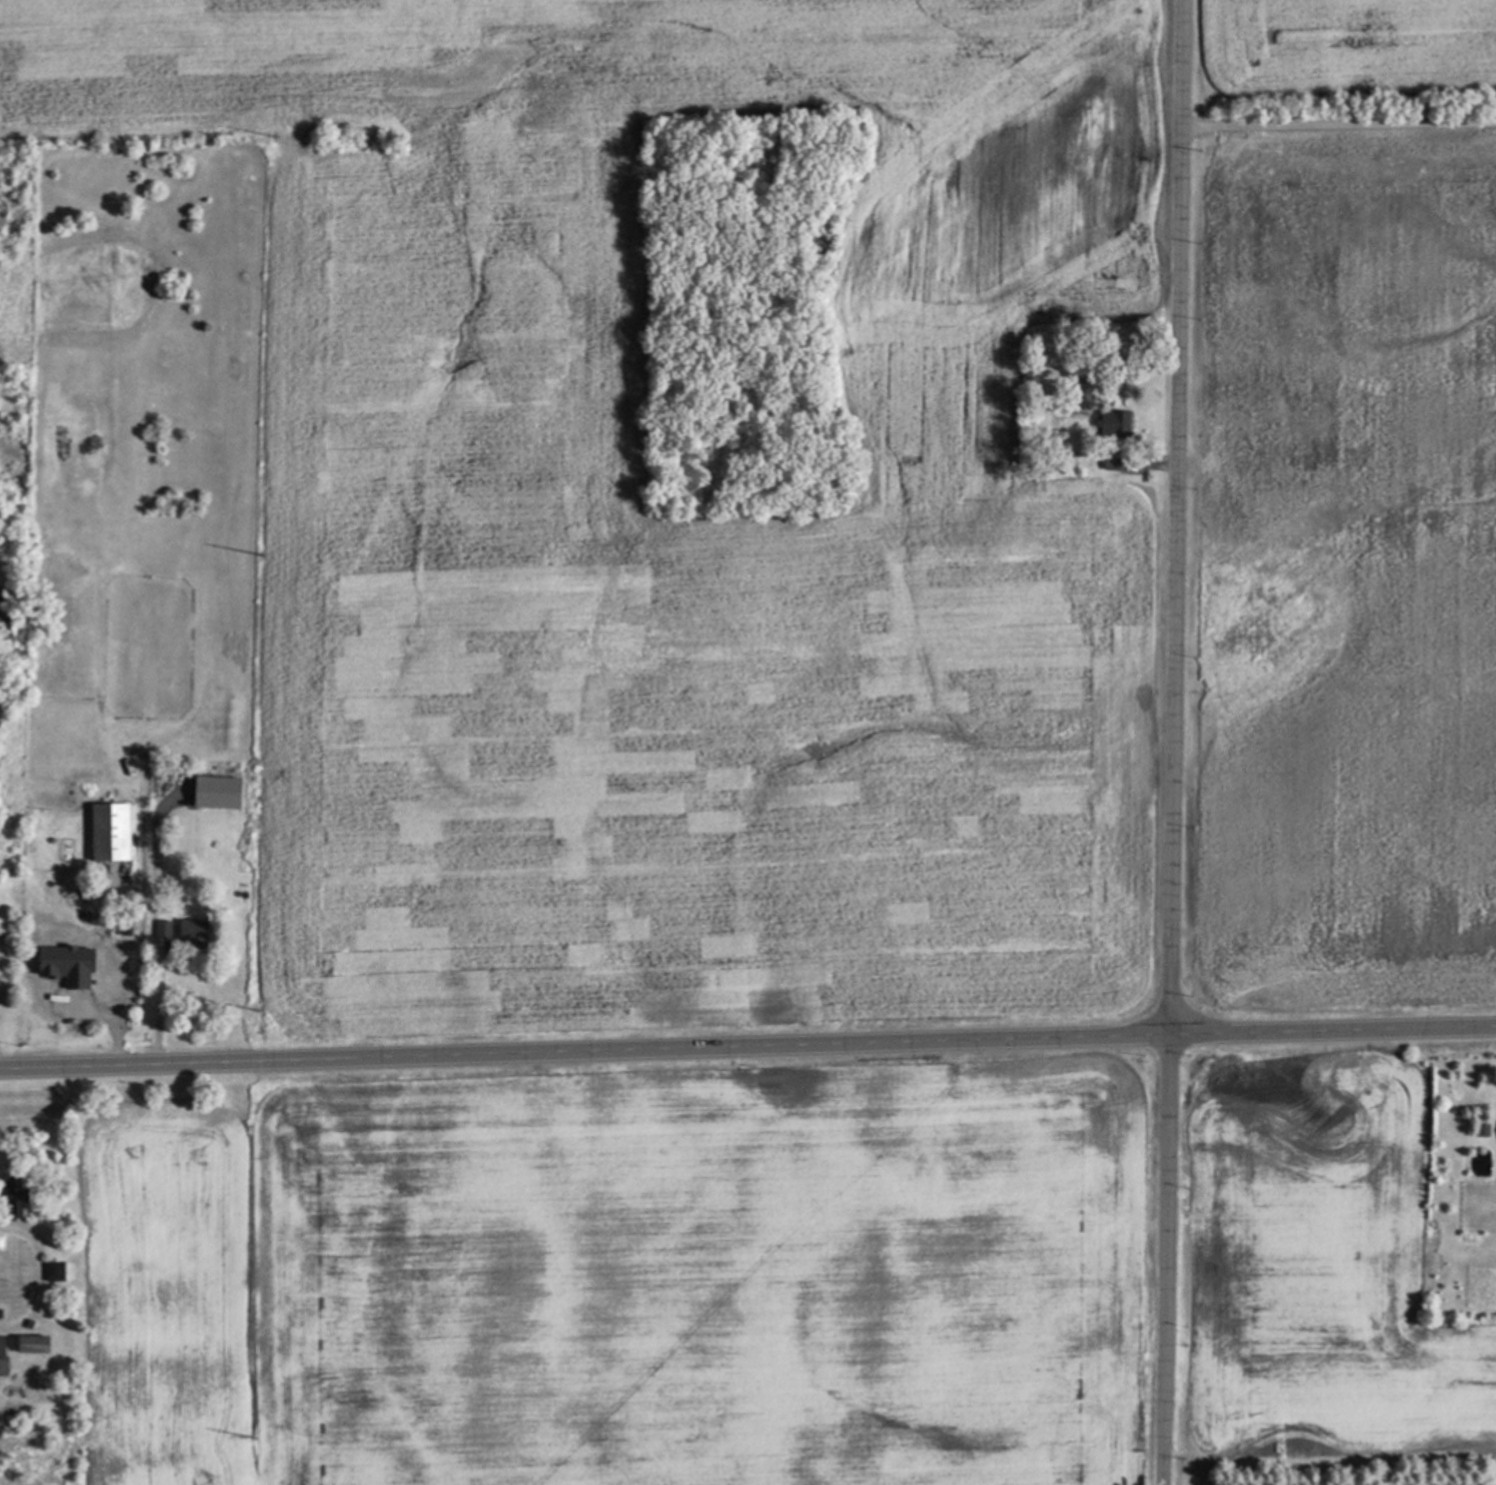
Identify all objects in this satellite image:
road: (1338, 124)
building: (1111, 421)
building: (1106, 463)
crop: (855, 497)
road: (1171, 742)
building: (113, 832)
building: (165, 931)
building: (194, 932)
building: (114, 994)
building: (77, 997)
road: (157, 1009)
road: (747, 1049)
building: (22, 1197)
building: (55, 1273)
road: (38, 1276)
building: (37, 1345)
building: (5, 1356)

